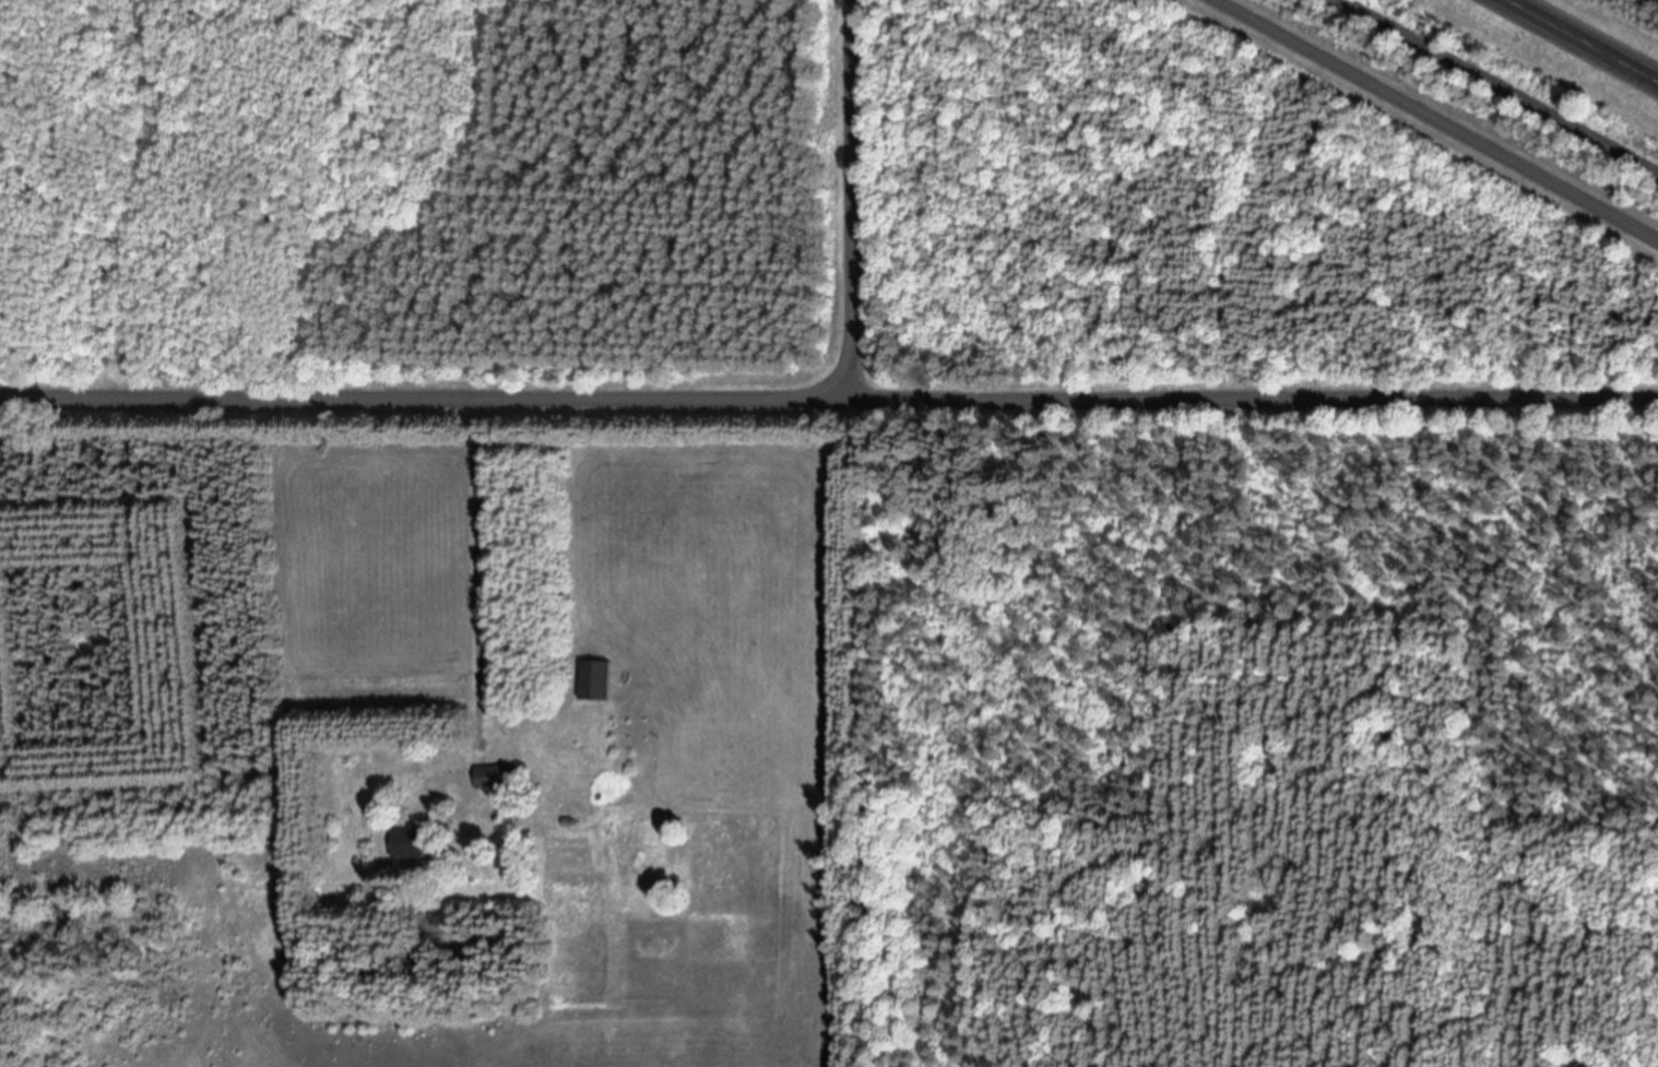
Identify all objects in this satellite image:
road: (1582, 40)
road: (1499, 87)
road: (1438, 120)
road: (849, 198)
road: (828, 395)
building: (600, 681)
building: (500, 778)
building: (414, 843)

